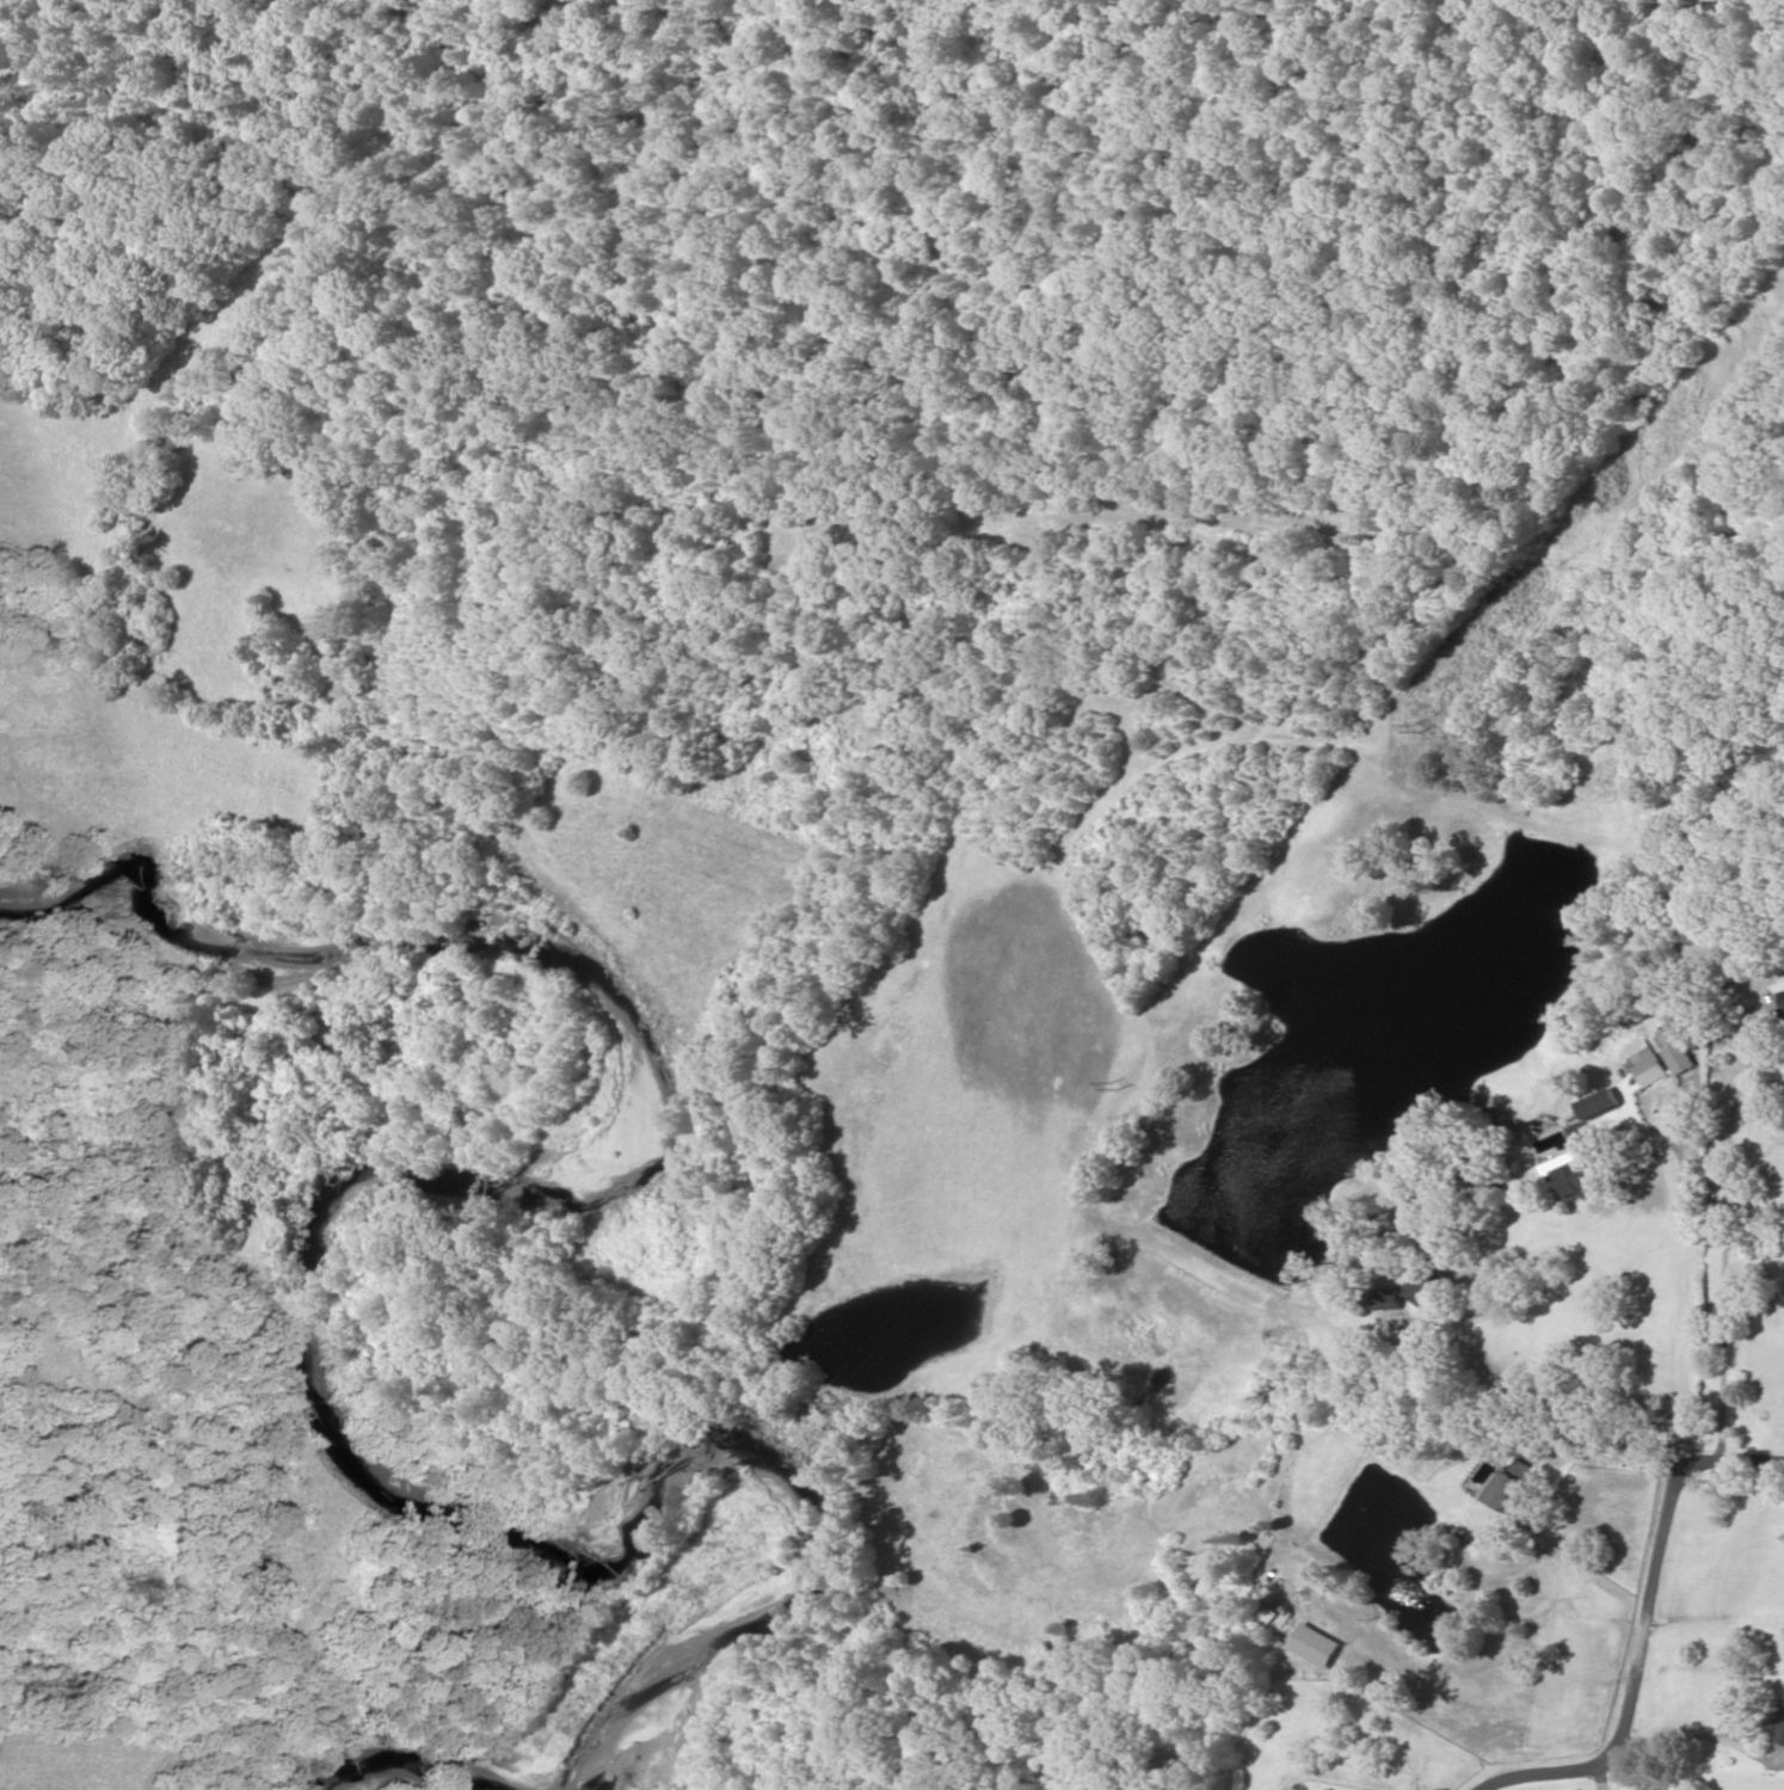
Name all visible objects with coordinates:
building: (1783, 994)
building: (1678, 1050)
building: (1654, 1070)
building: (1573, 1174)
building: (1435, 1286)
building: (1397, 1299)
building: (1513, 1483)
road: (1655, 1616)
building: (1780, 1729)

